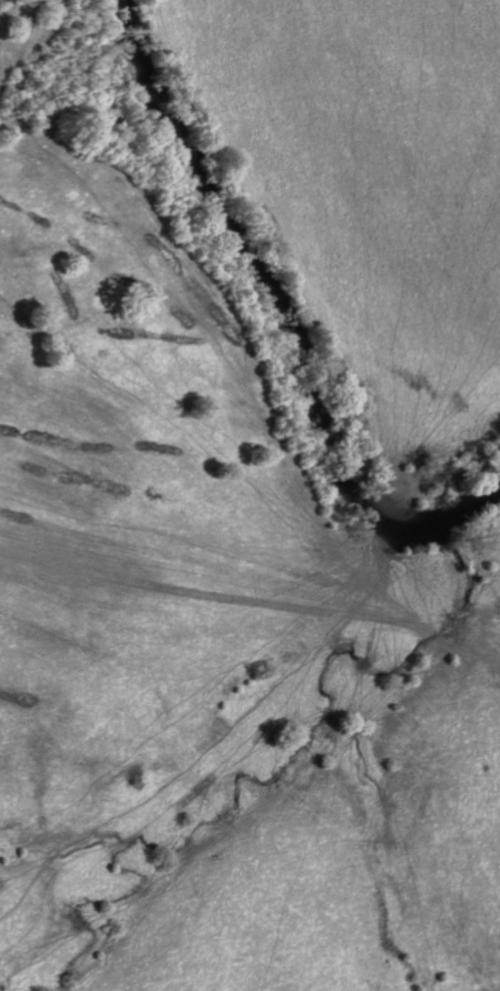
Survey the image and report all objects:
road: (257, 587)

